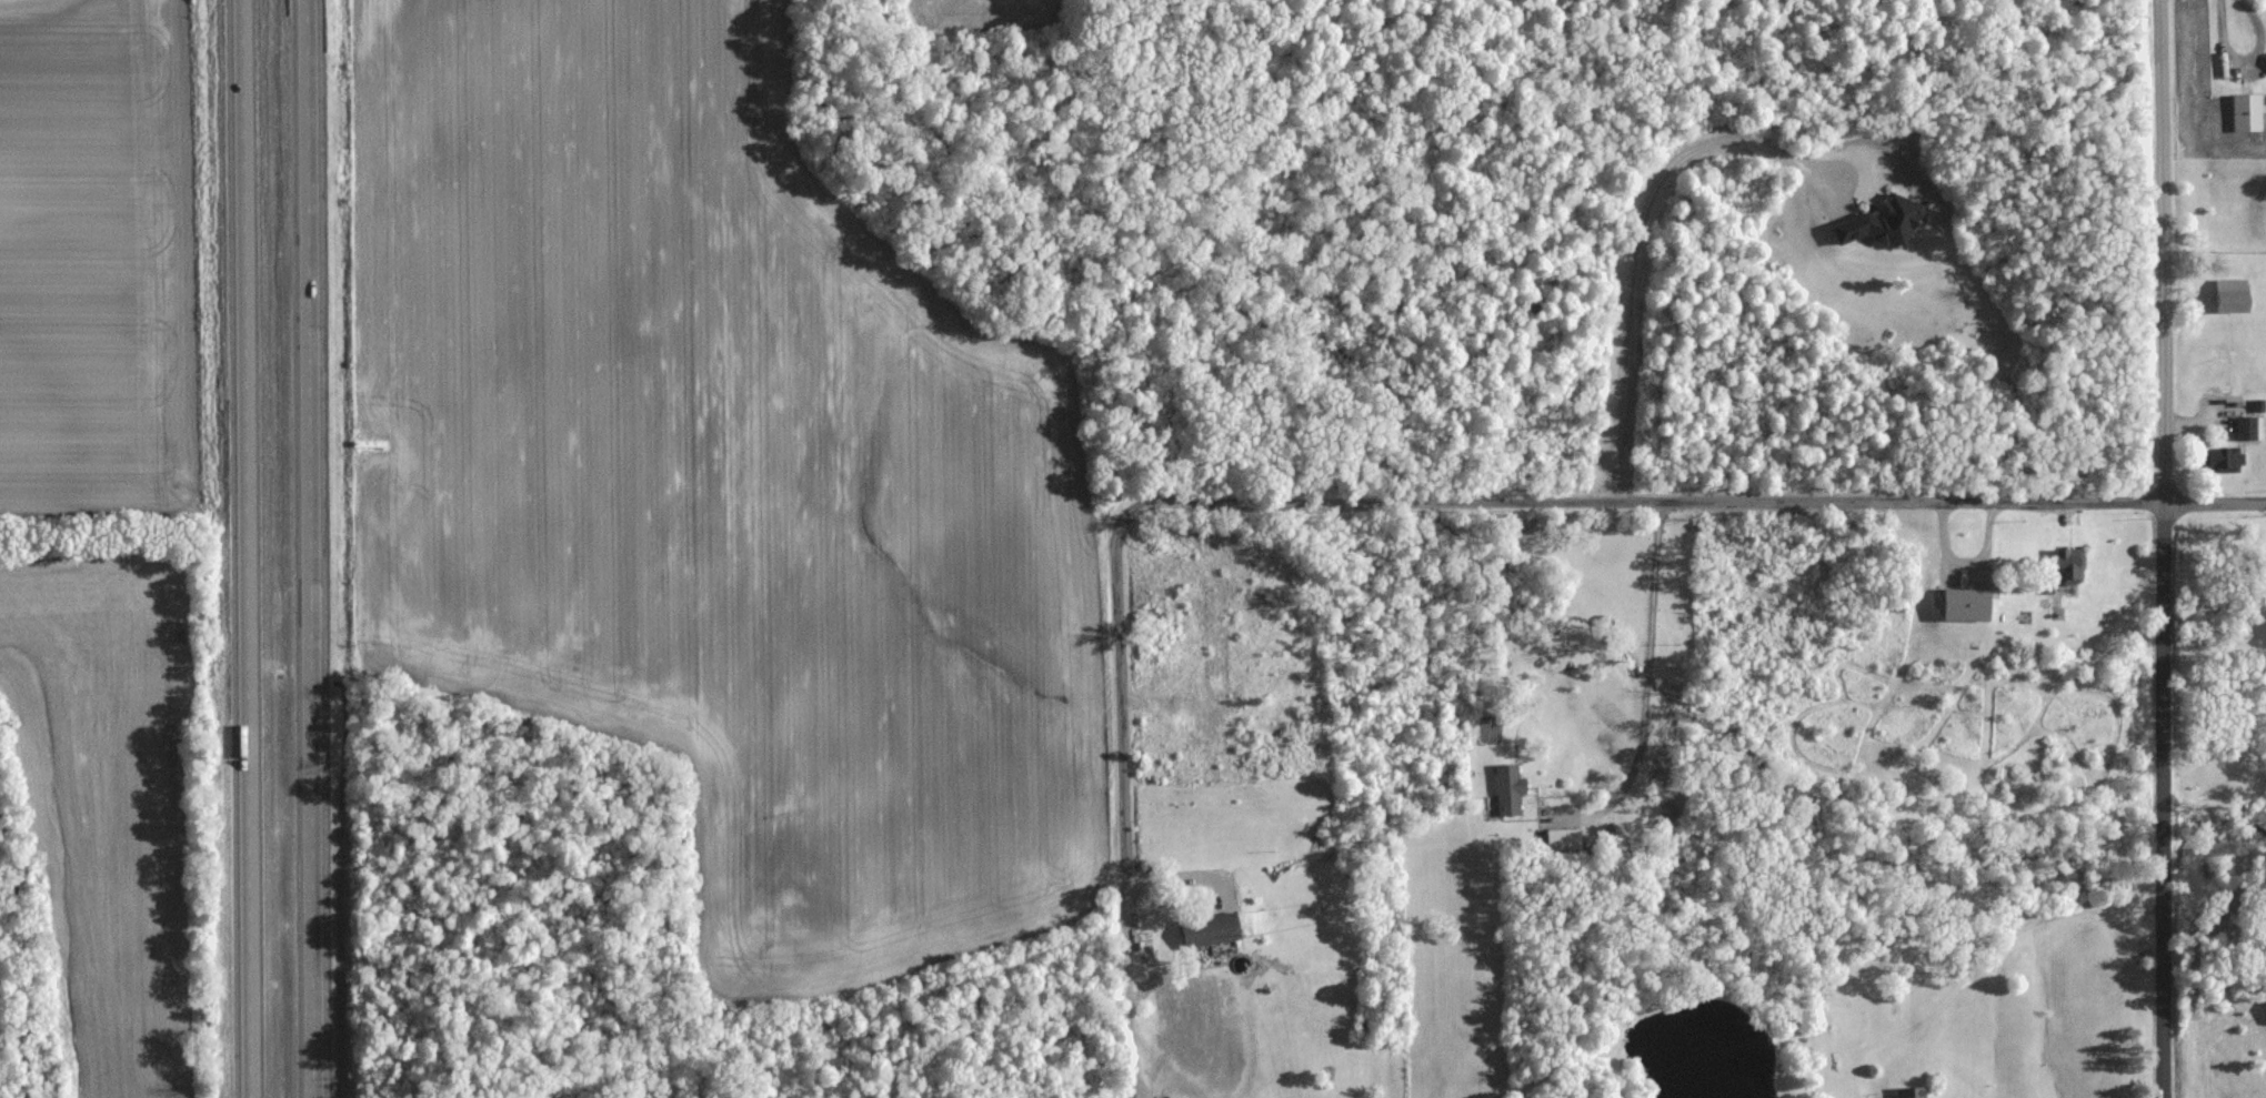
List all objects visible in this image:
road: (2243, 67)
building: (2247, 111)
building: (1882, 222)
road: (1636, 252)
building: (2230, 294)
building: (2249, 427)
building: (2216, 459)
road: (1467, 502)
road: (242, 548)
road: (310, 548)
road: (2163, 548)
building: (2069, 564)
building: (1965, 603)
road: (1644, 681)
building: (1508, 788)
building: (1563, 837)
building: (1203, 928)
road: (1133, 1030)
building: (1912, 1092)

